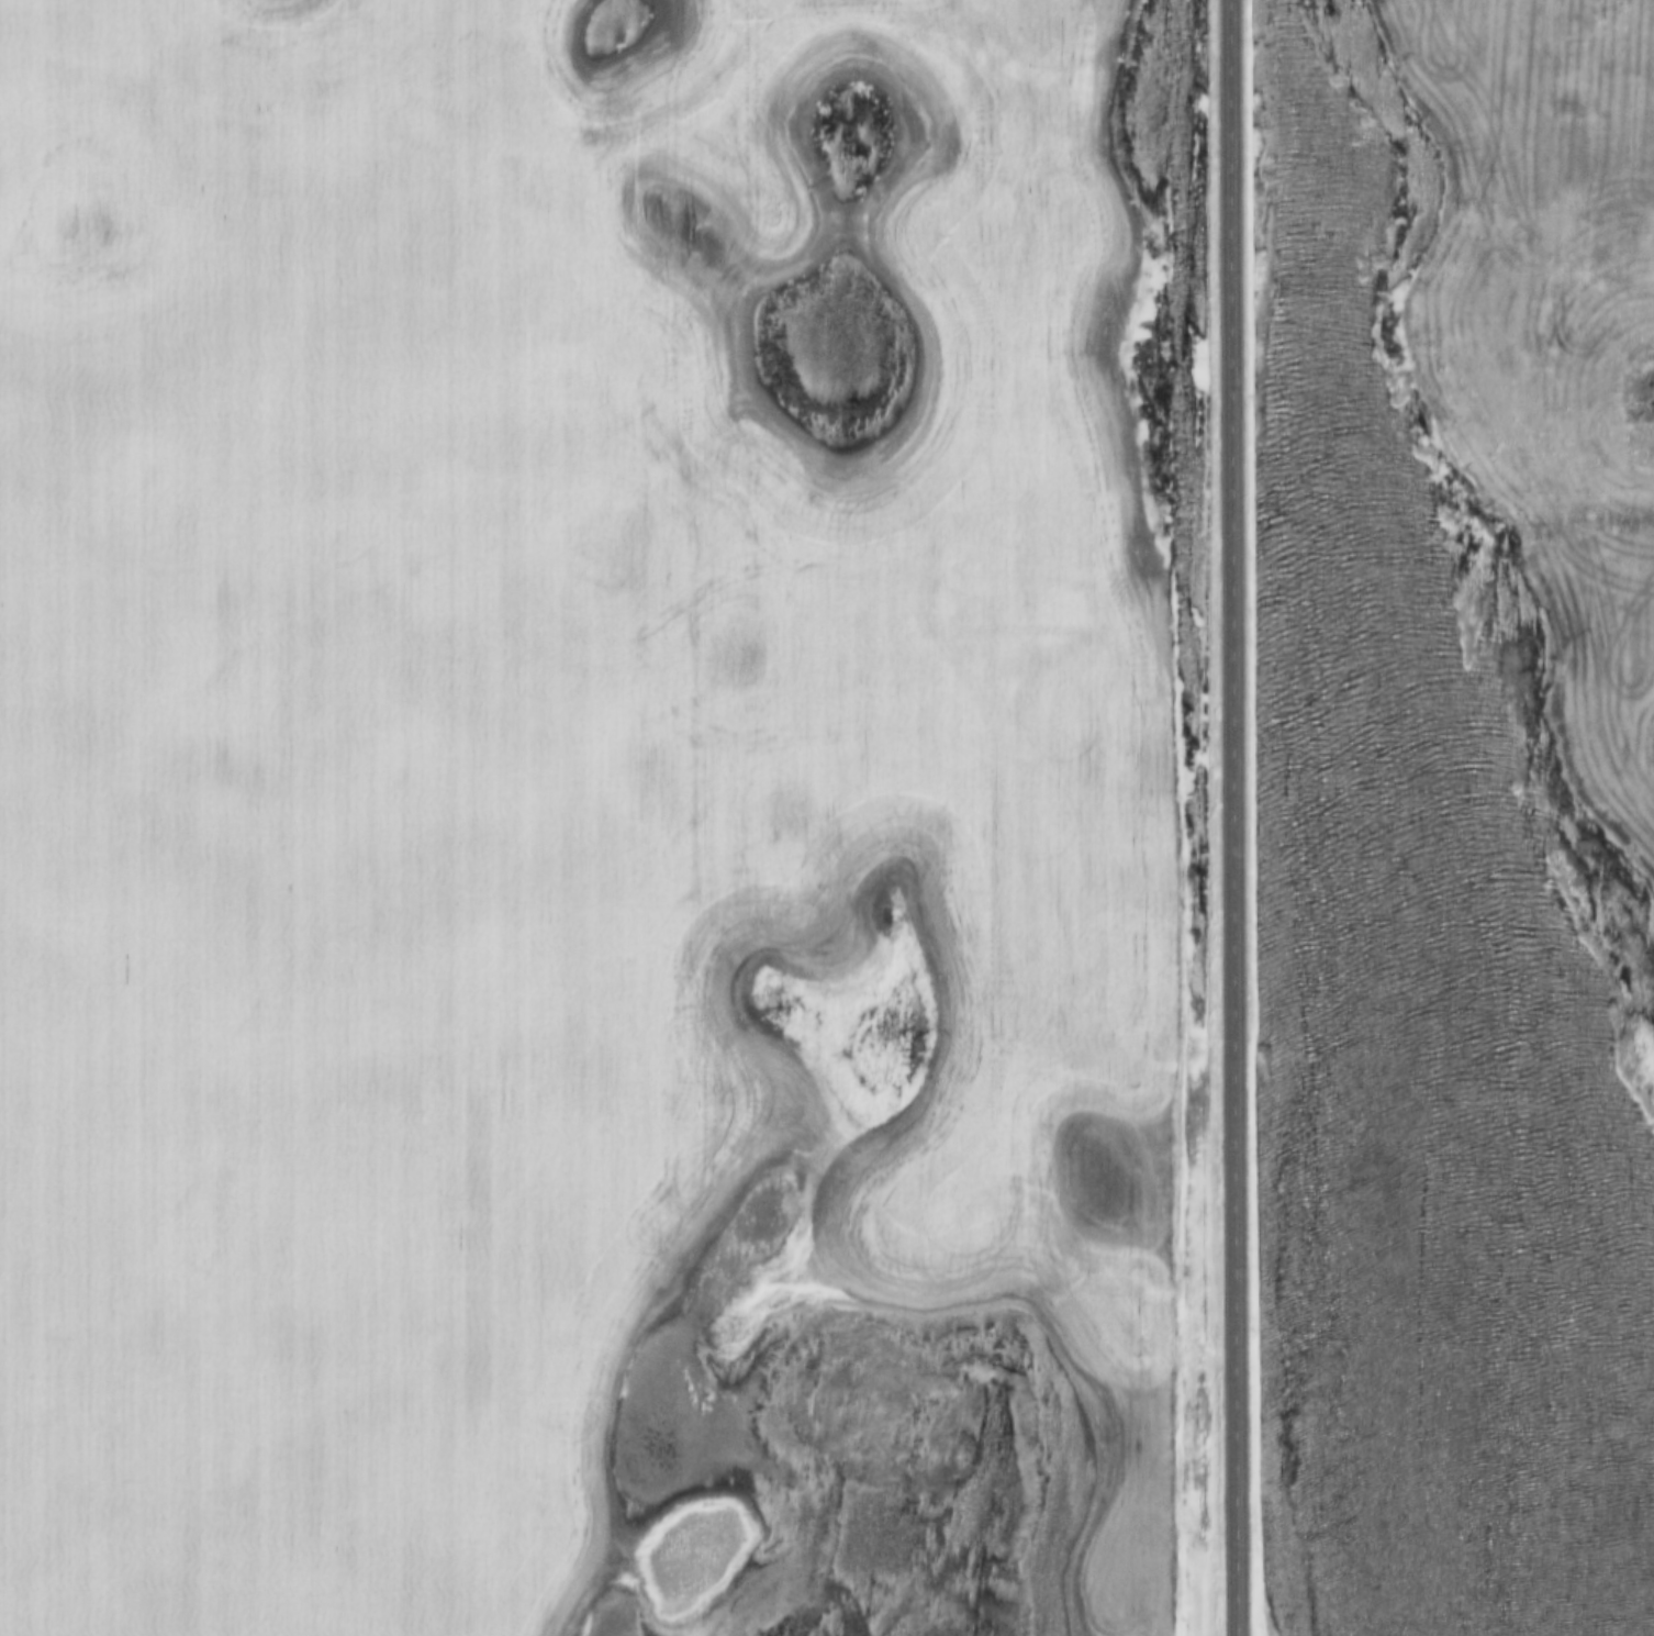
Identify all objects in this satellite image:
road: (1234, 817)

